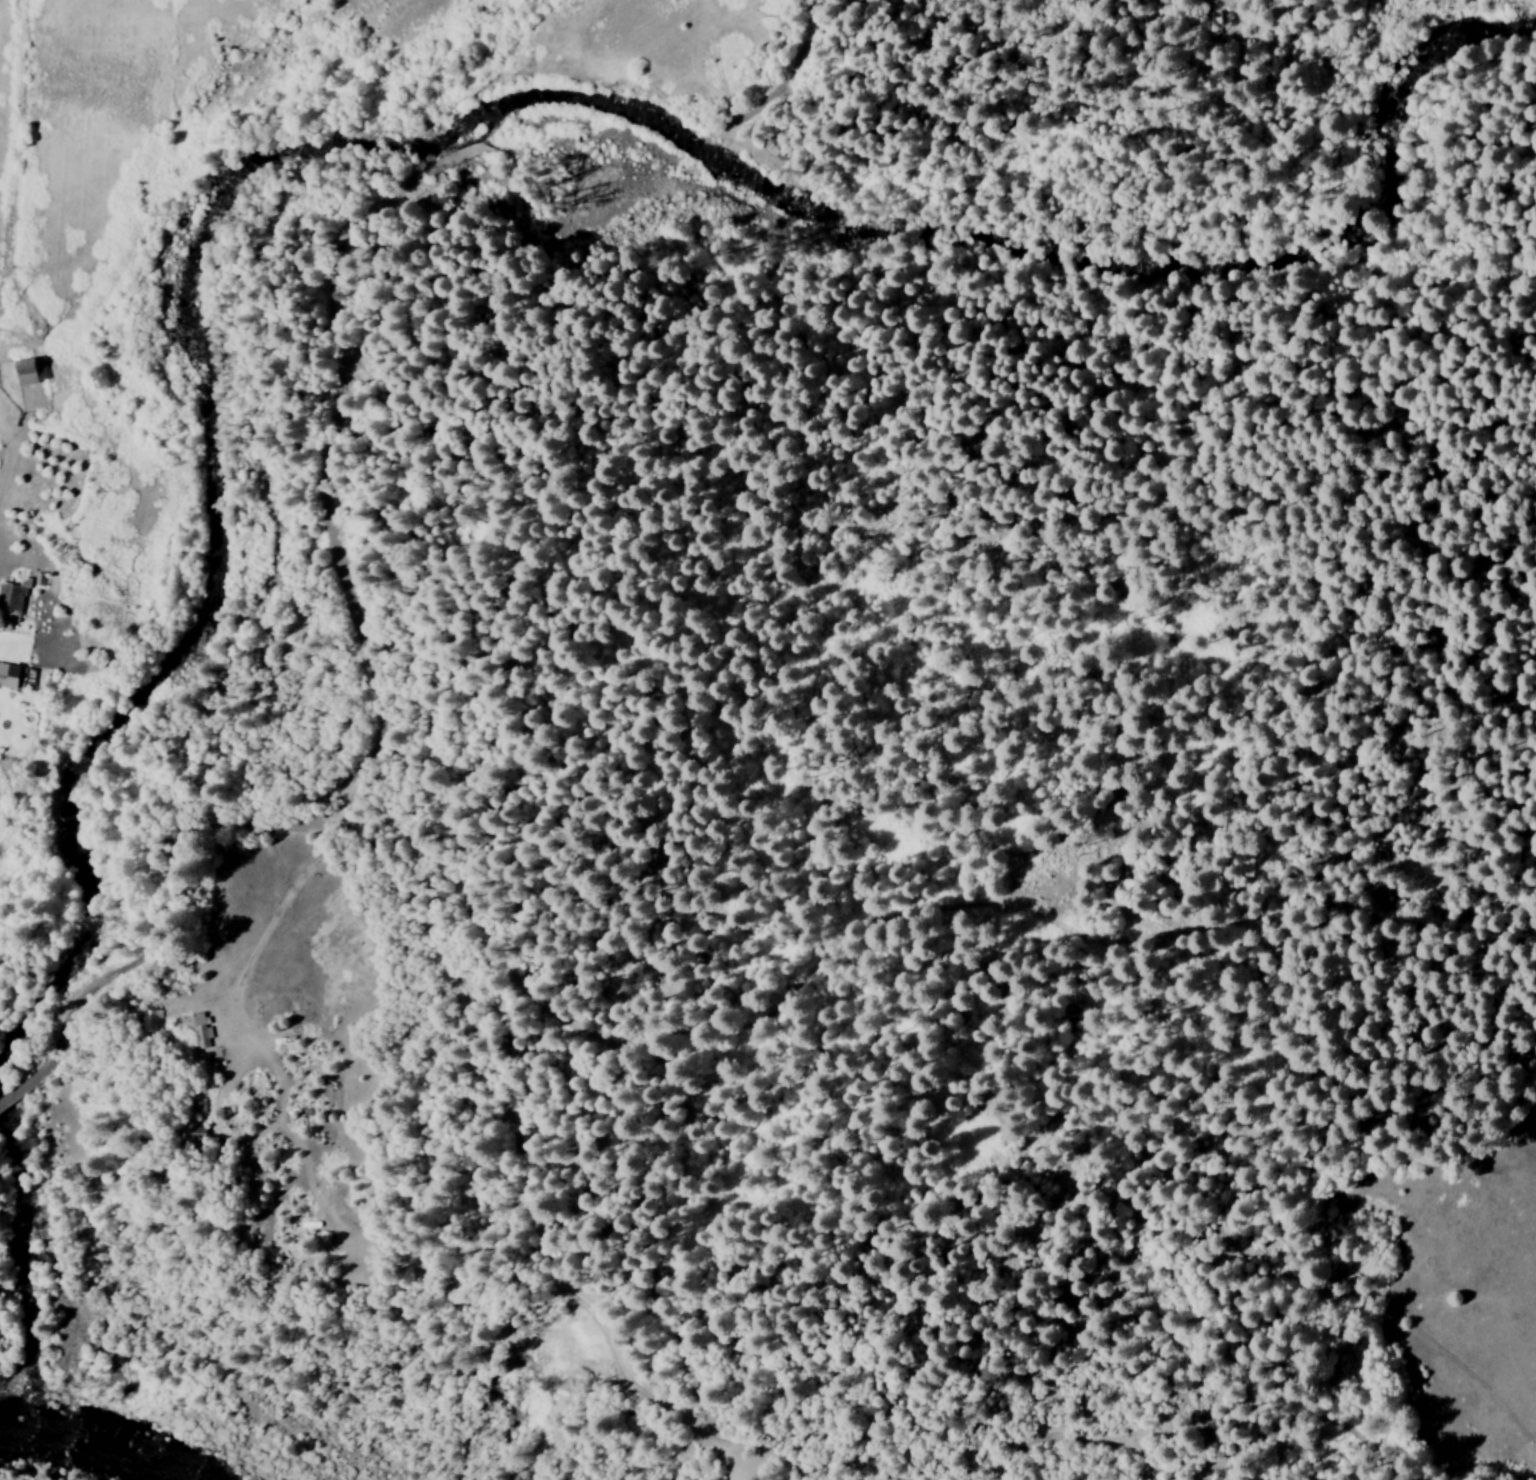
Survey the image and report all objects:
road: (349, 262)
building: (27, 371)
building: (10, 601)
building: (11, 676)
road: (220, 1012)
building: (150, 1021)
building: (199, 1032)
road: (22, 1087)
road: (5, 1099)
building: (192, 1136)
road: (520, 1263)
river: (78, 1441)
road: (1147, 1454)
road: (1535, 1473)

